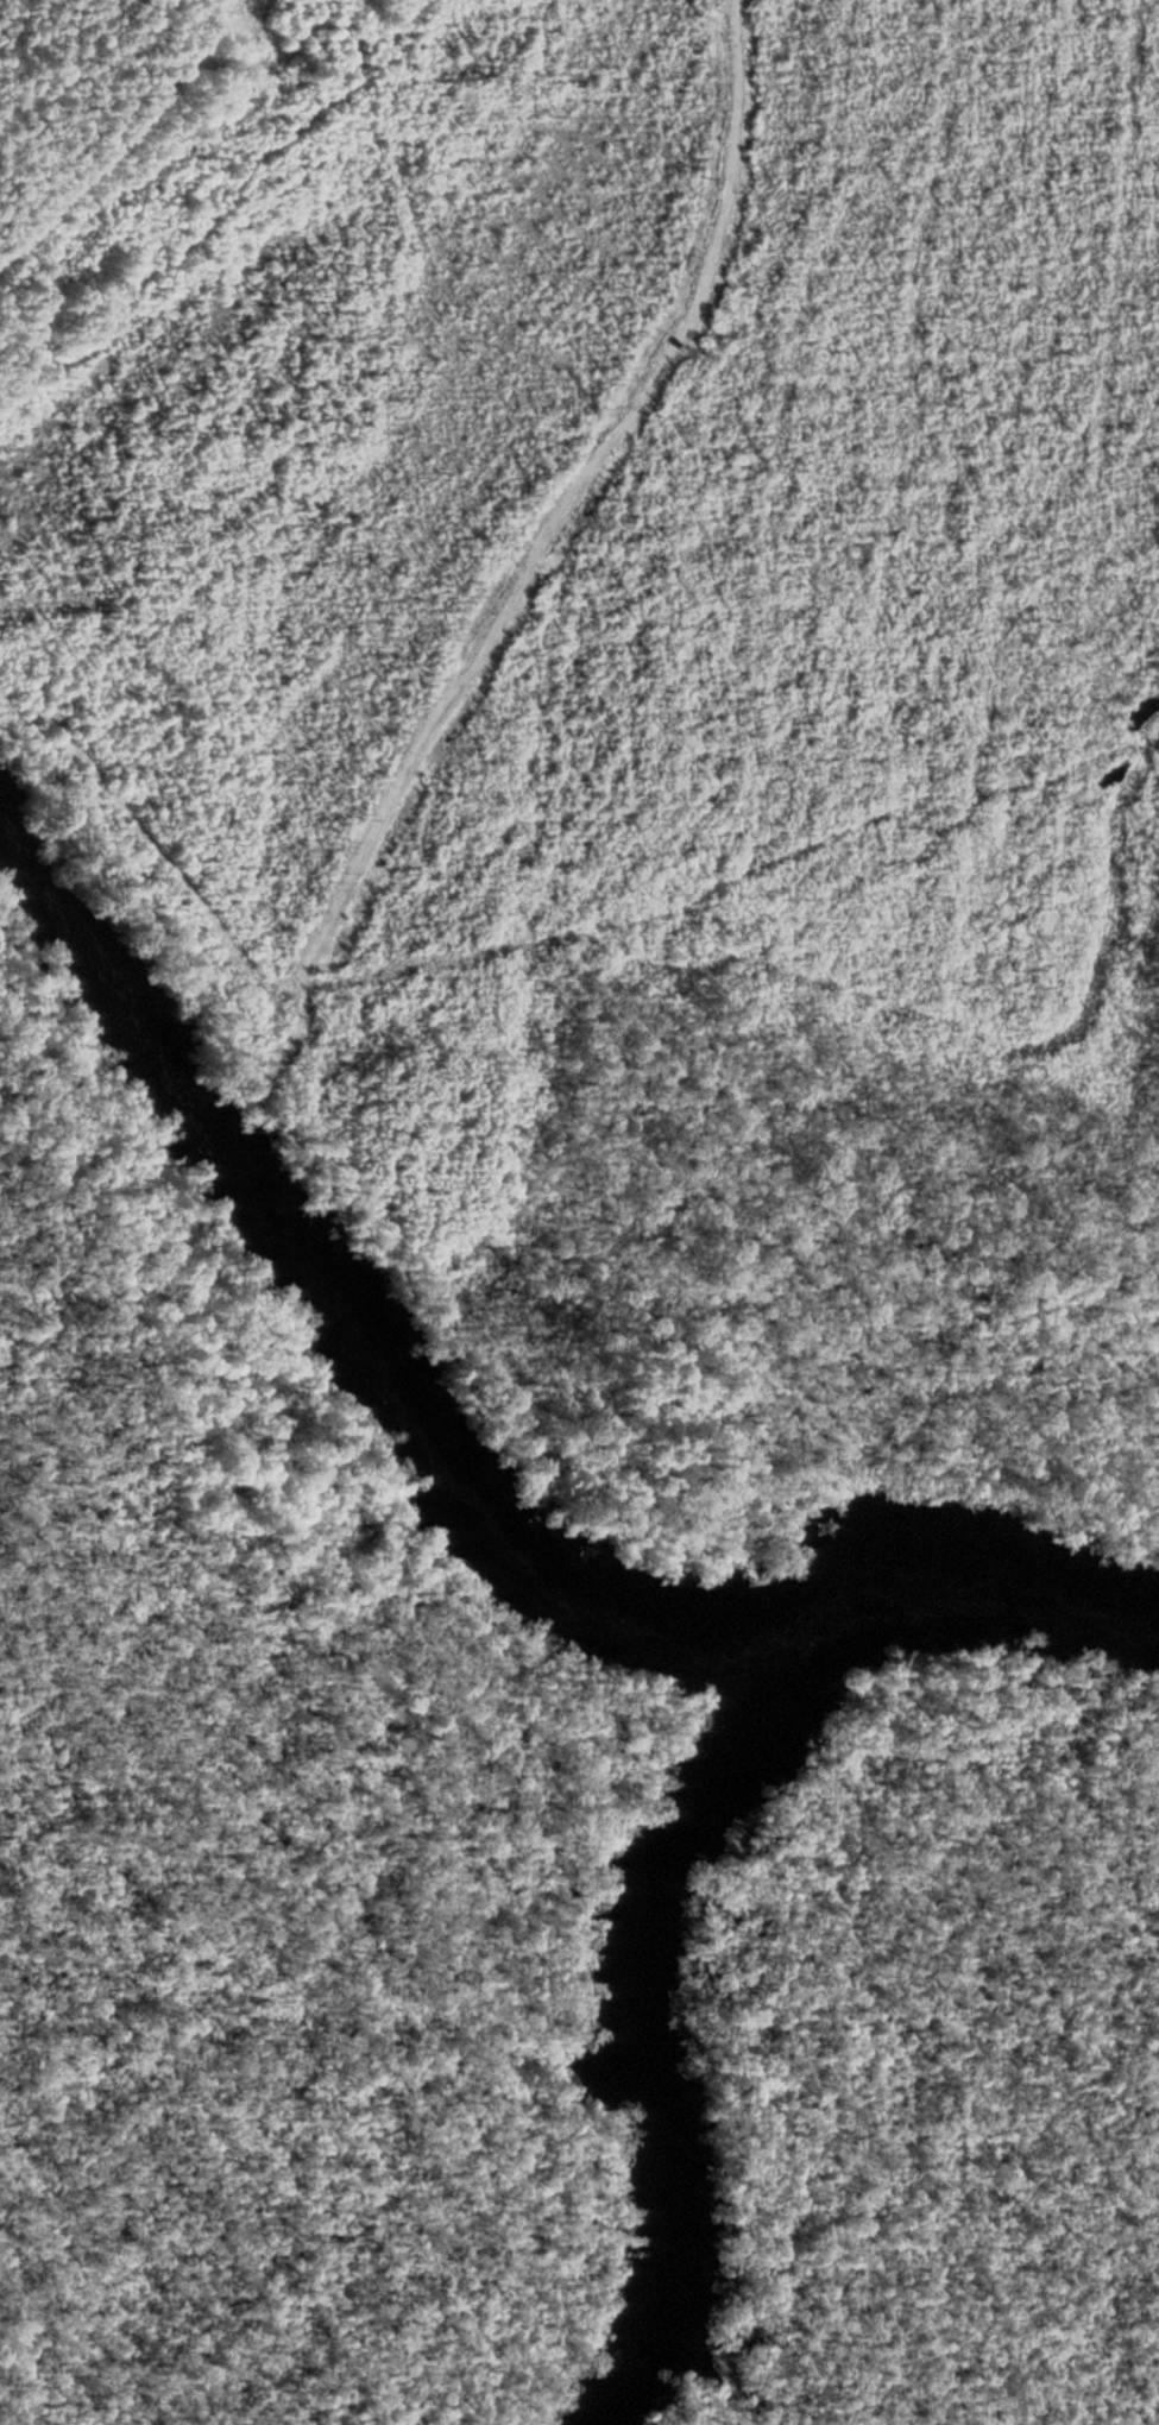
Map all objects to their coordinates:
river: (966, 1595)
river: (640, 2026)

